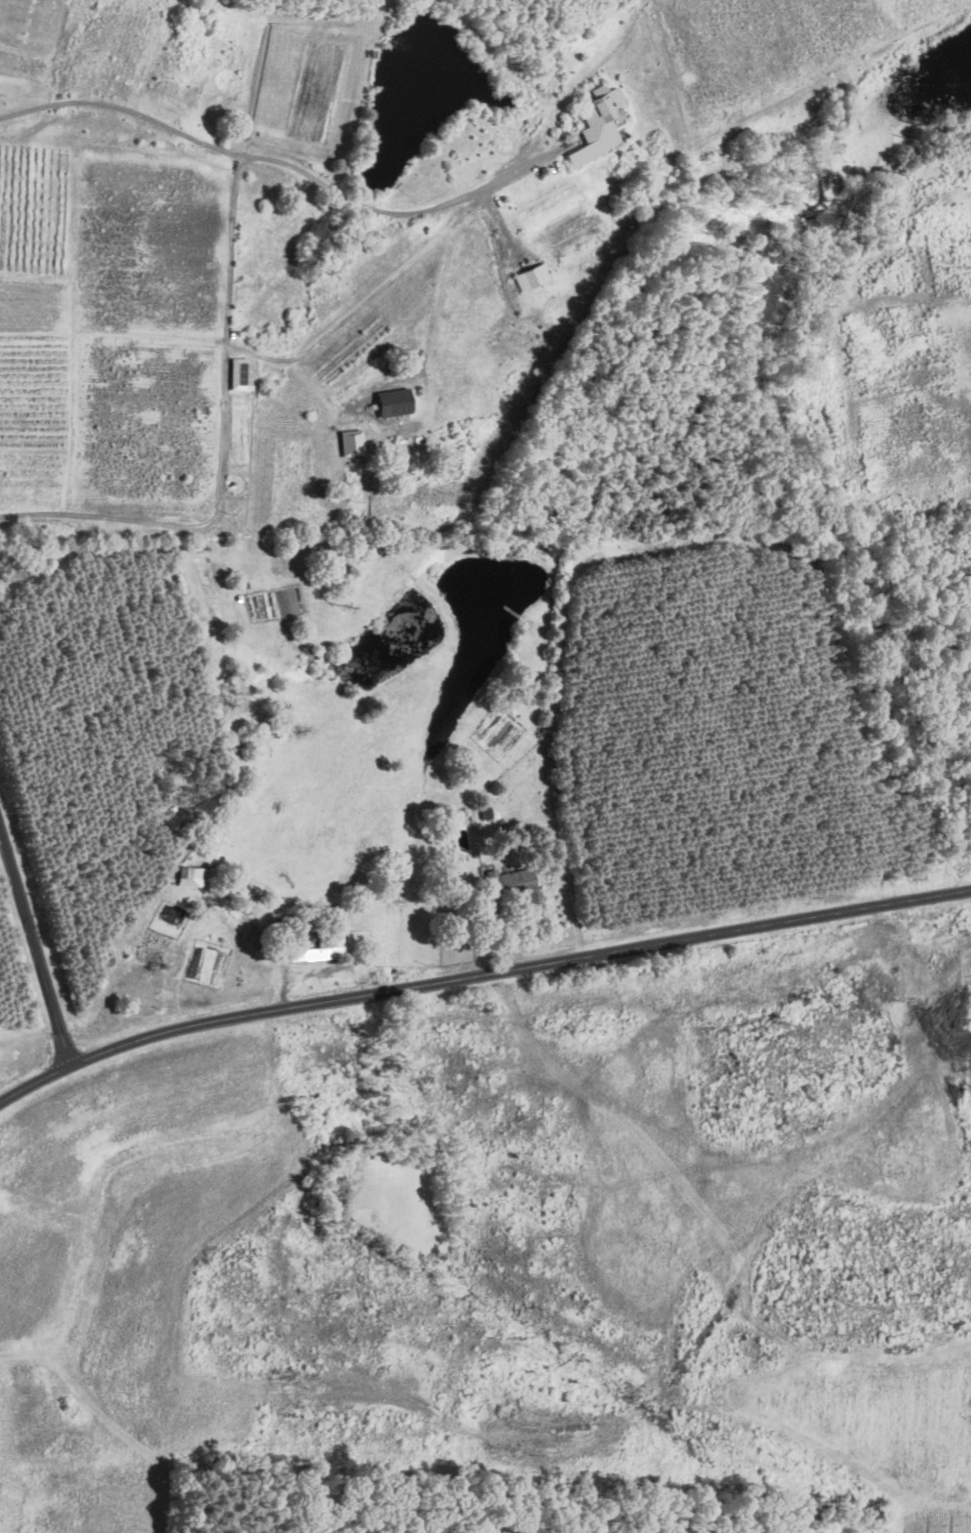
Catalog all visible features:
building: (596, 124)
road: (273, 159)
building: (576, 232)
road: (231, 249)
building: (531, 275)
road: (436, 295)
building: (239, 372)
road: (226, 382)
building: (392, 401)
building: (350, 442)
building: (188, 875)
building: (509, 881)
building: (333, 940)
road: (36, 941)
road: (479, 976)

